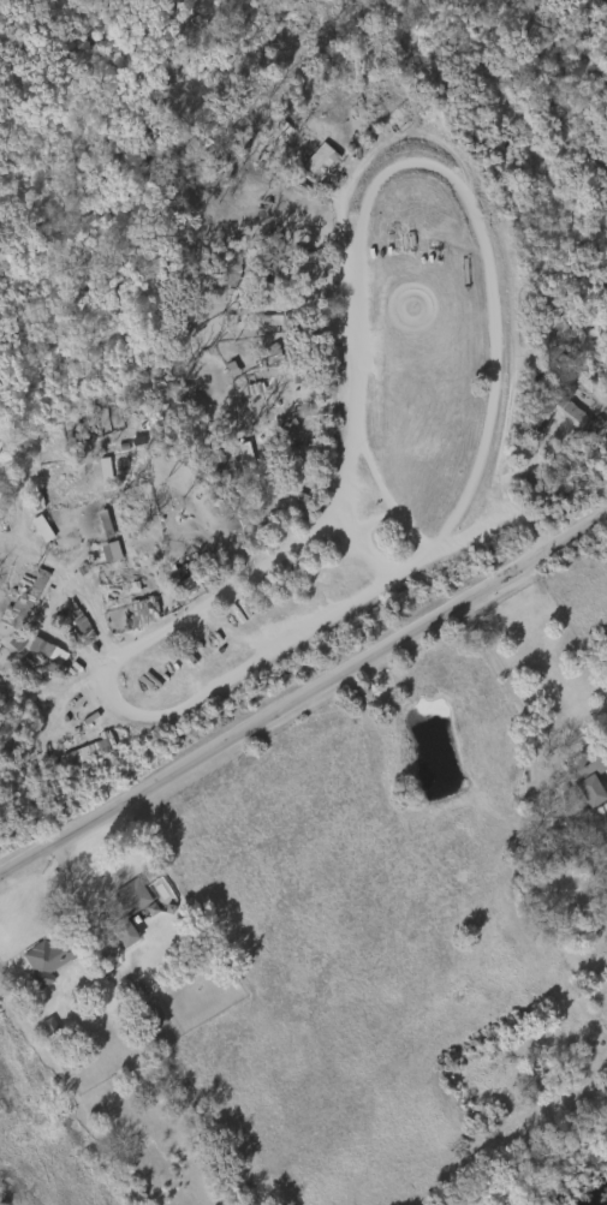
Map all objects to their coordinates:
building: (322, 163)
road: (434, 168)
building: (565, 364)
road: (388, 499)
building: (35, 527)
building: (66, 545)
building: (195, 567)
building: (36, 592)
building: (18, 602)
building: (131, 609)
road: (89, 614)
building: (72, 619)
building: (85, 624)
building: (14, 637)
building: (50, 651)
road: (502, 674)
road: (302, 703)
road: (166, 715)
building: (89, 752)
building: (590, 772)
building: (125, 911)
building: (53, 956)
building: (147, 1018)
building: (43, 1026)

